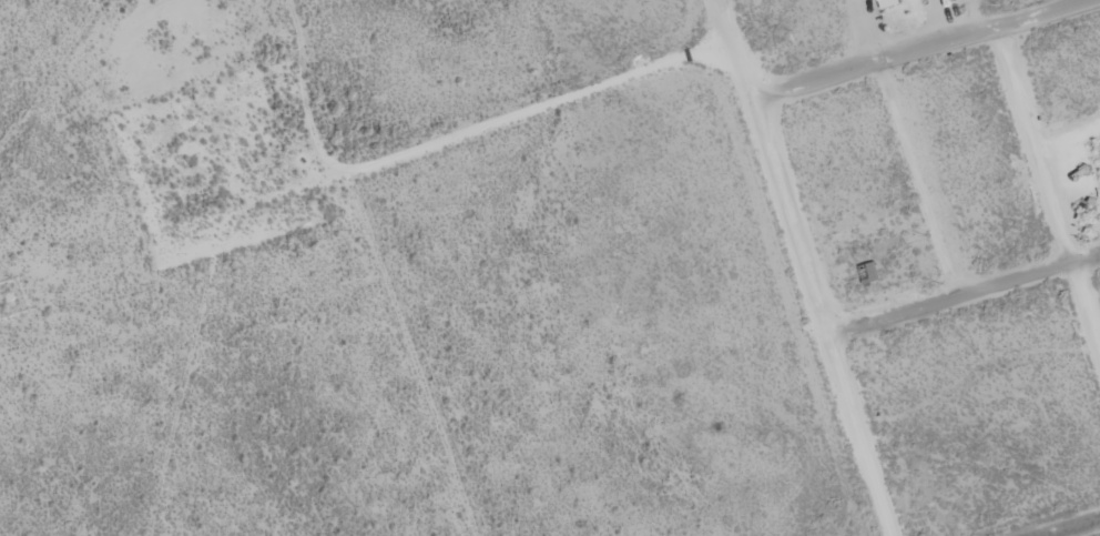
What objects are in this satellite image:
building: (889, 3)
road: (928, 52)
road: (1045, 173)
road: (803, 266)
building: (873, 272)
road: (961, 302)
road: (1079, 529)

